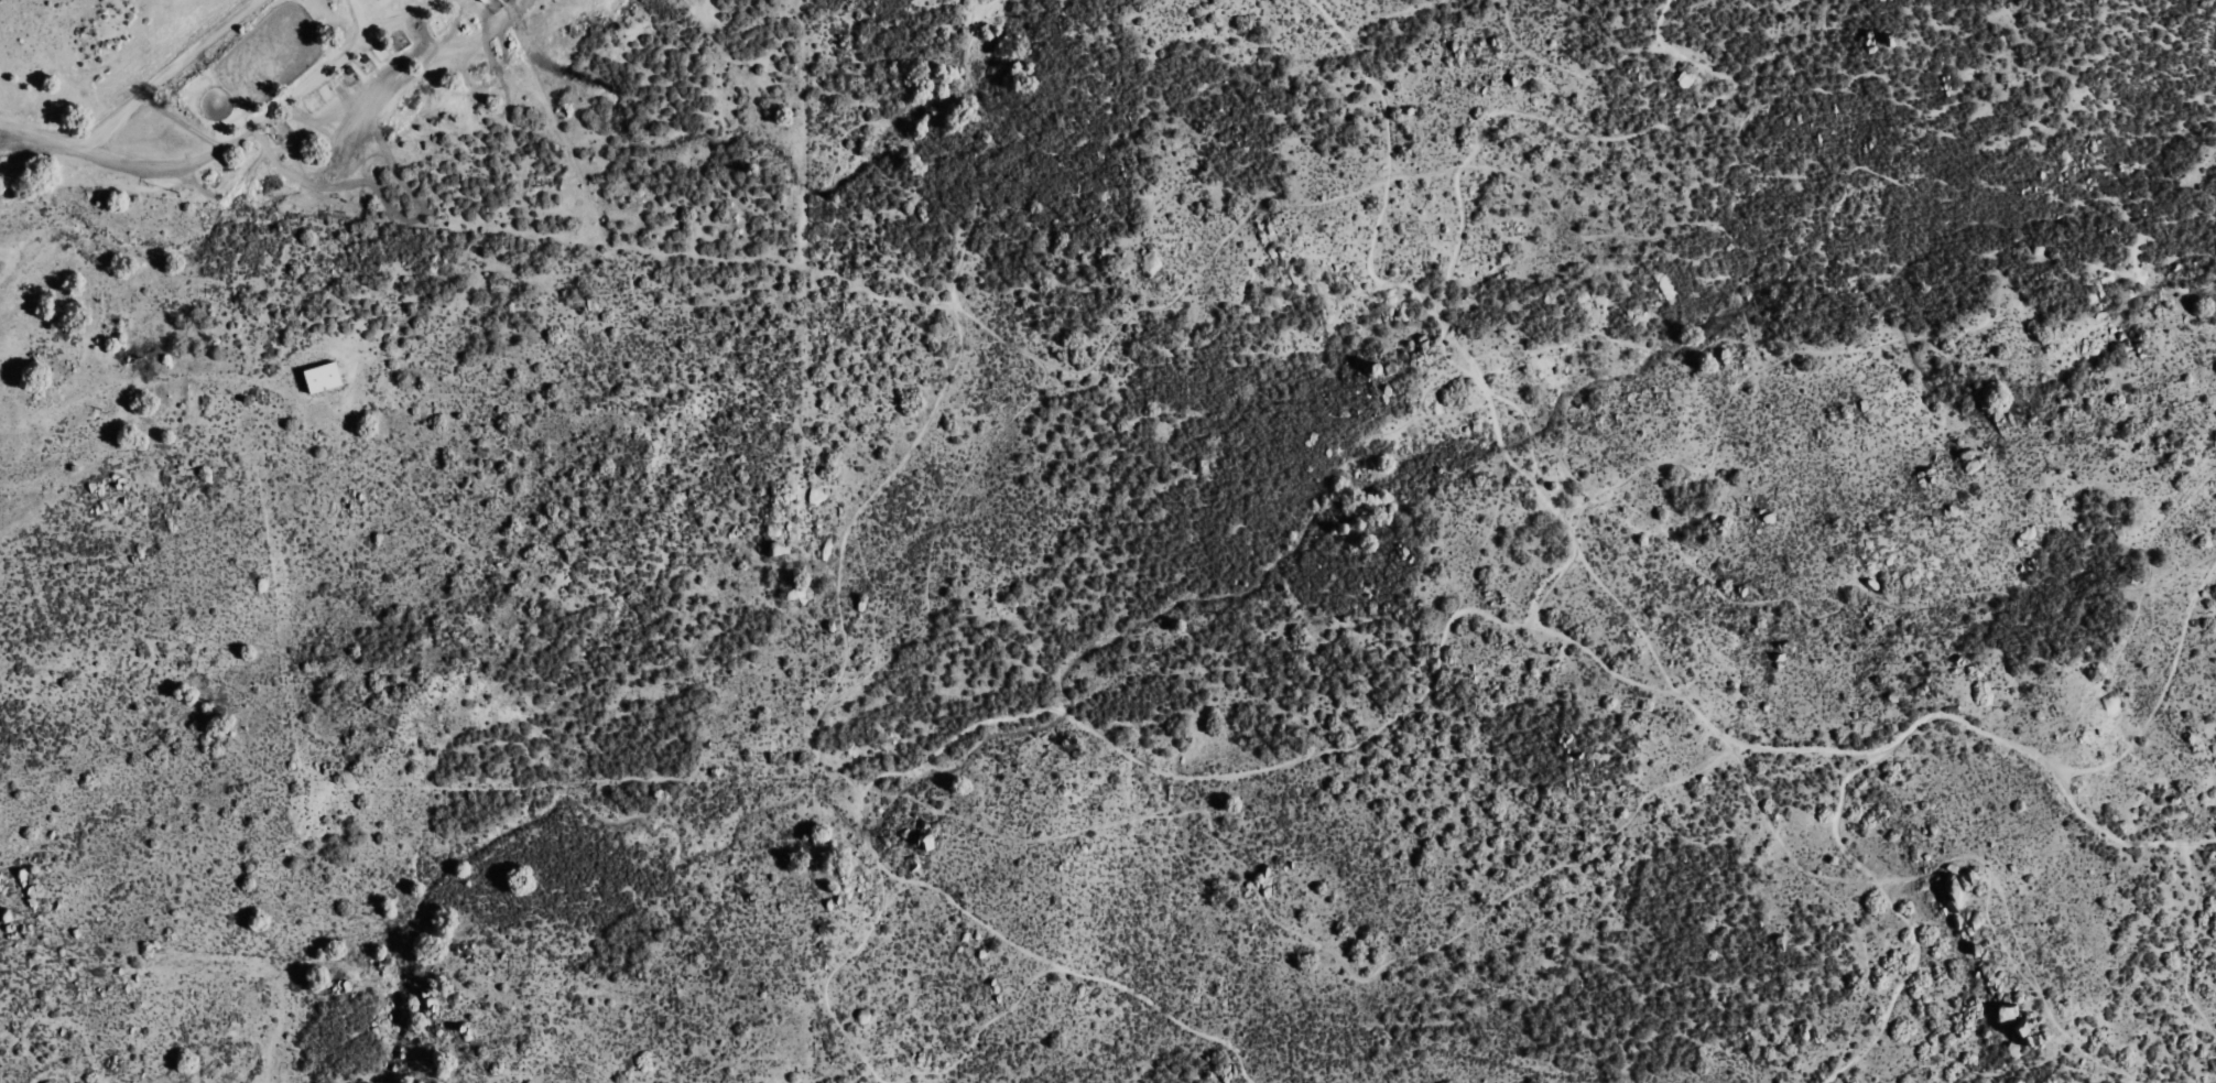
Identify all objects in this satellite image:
building: (478, 1)
building: (318, 376)
building: (330, 382)
road: (2088, 701)

